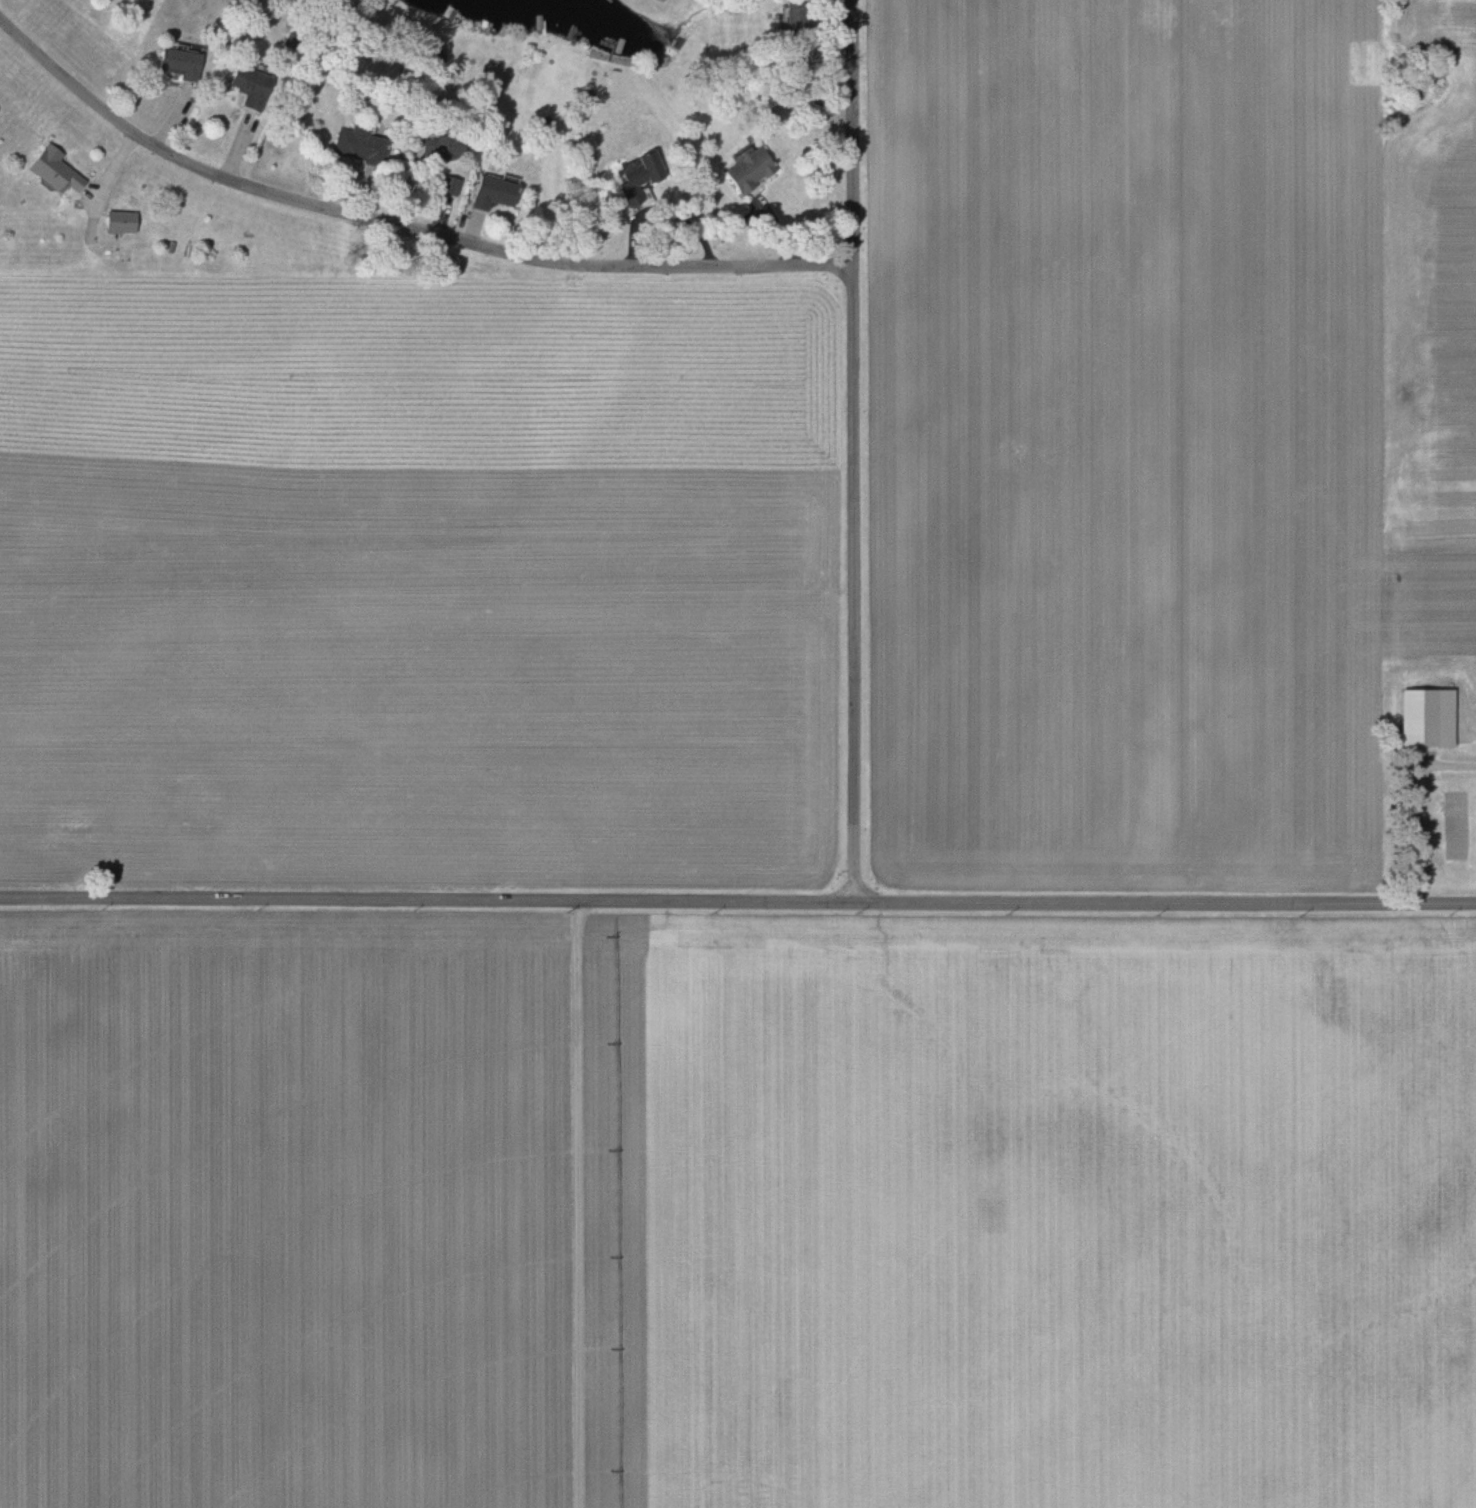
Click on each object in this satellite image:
building: (178, 63)
building: (248, 87)
building: (358, 144)
building: (440, 148)
building: (746, 169)
building: (52, 171)
building: (632, 178)
building: (447, 185)
building: (492, 192)
building: (117, 222)
road: (398, 225)
road: (853, 451)
building: (1423, 717)
road: (737, 902)
road: (588, 1204)

